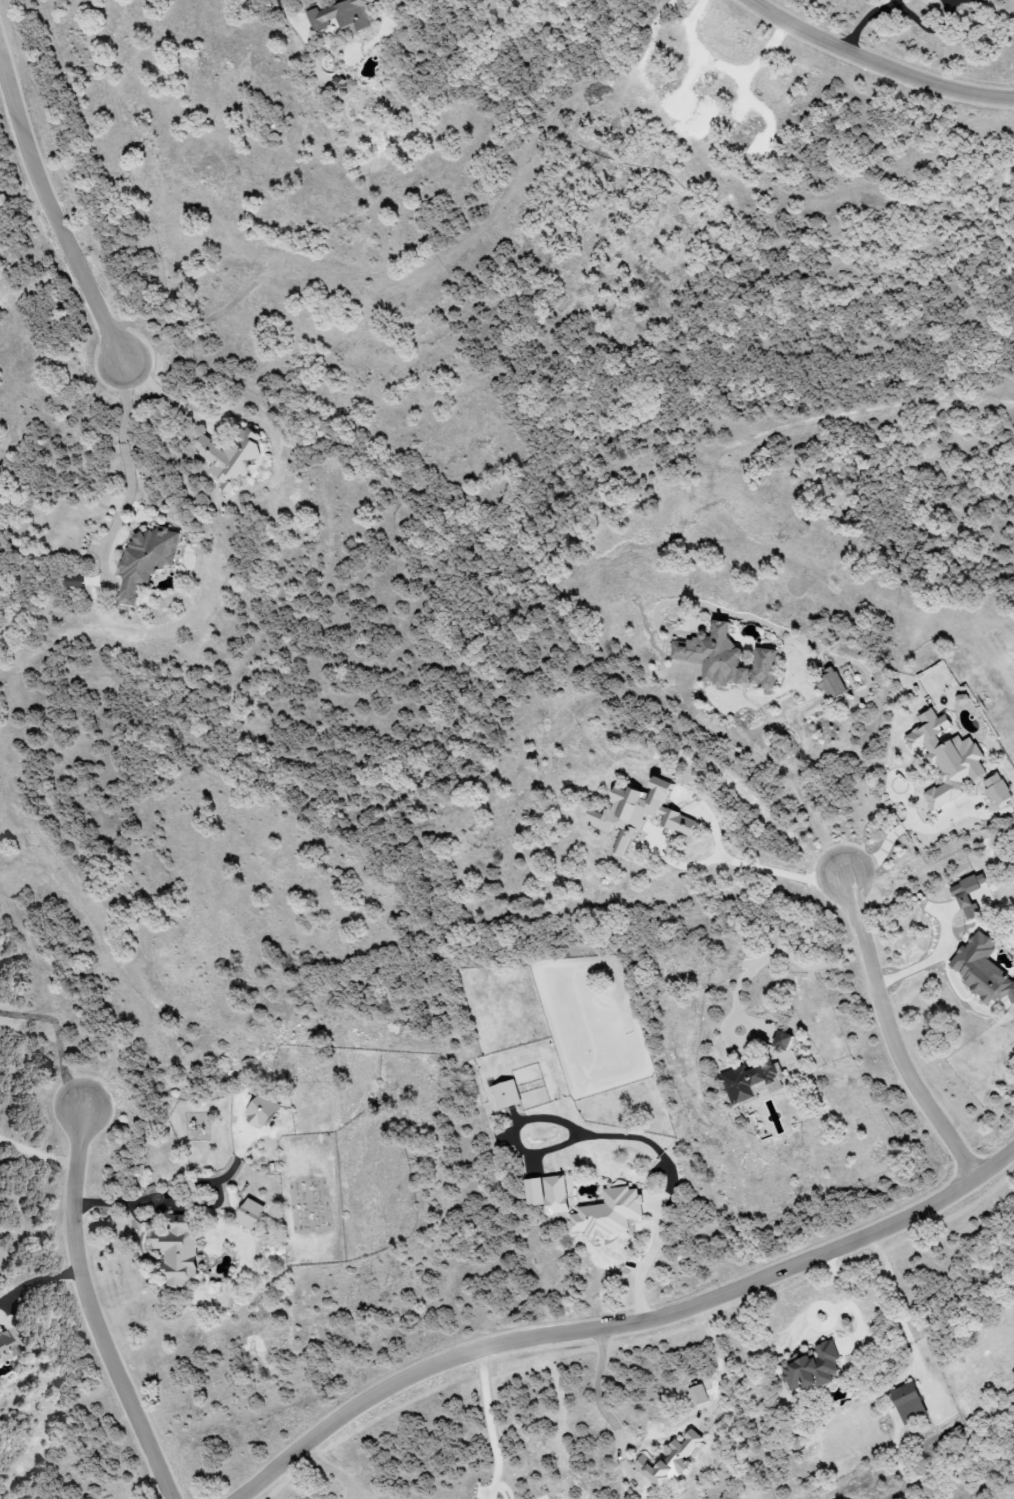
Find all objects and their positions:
road: (897, 3)
road: (292, 13)
building: (343, 16)
road: (874, 67)
road: (52, 216)
road: (172, 395)
building: (230, 457)
road: (128, 479)
building: (144, 560)
building: (75, 581)
building: (725, 658)
building: (830, 683)
building: (962, 699)
building: (946, 757)
building: (997, 789)
road: (804, 792)
building: (639, 813)
road: (898, 831)
road: (762, 864)
building: (961, 897)
road: (777, 952)
road: (928, 960)
building: (981, 970)
road: (61, 1033)
road: (889, 1037)
building: (781, 1041)
building: (747, 1080)
building: (506, 1094)
building: (261, 1111)
road: (38, 1146)
building: (548, 1194)
road: (159, 1200)
building: (249, 1214)
building: (609, 1214)
building: (177, 1251)
road: (646, 1263)
road: (35, 1281)
road: (87, 1309)
road: (901, 1321)
road: (626, 1329)
building: (5, 1345)
building: (811, 1368)
road: (598, 1391)
building: (698, 1395)
building: (907, 1402)
road: (491, 1419)
building: (669, 1461)
road: (341, 1472)

